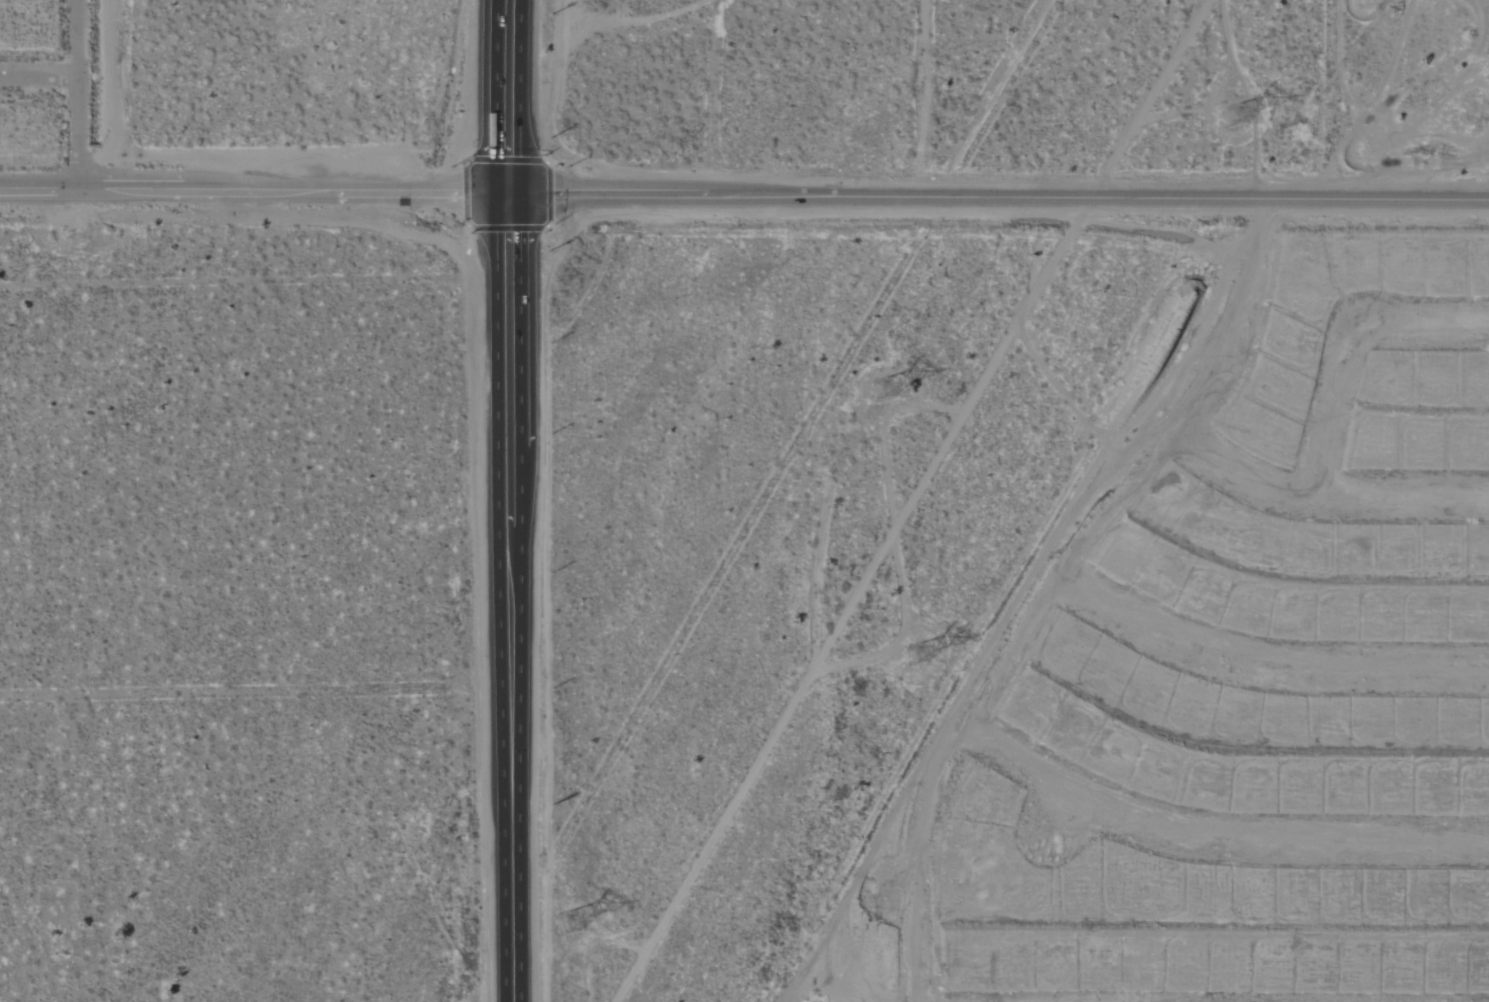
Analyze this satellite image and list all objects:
road: (39, 75)
road: (79, 96)
power tower: (1239, 104)
traffic signals: (502, 187)
road: (251, 189)
road: (995, 204)
road: (504, 280)
road: (1429, 327)
power tower: (889, 396)
road: (1337, 410)
road: (1325, 499)
road: (916, 500)
road: (1046, 582)
power tower: (908, 650)
road: (1260, 664)
road: (515, 781)
road: (1060, 817)
road: (1212, 840)
power tower: (576, 913)

